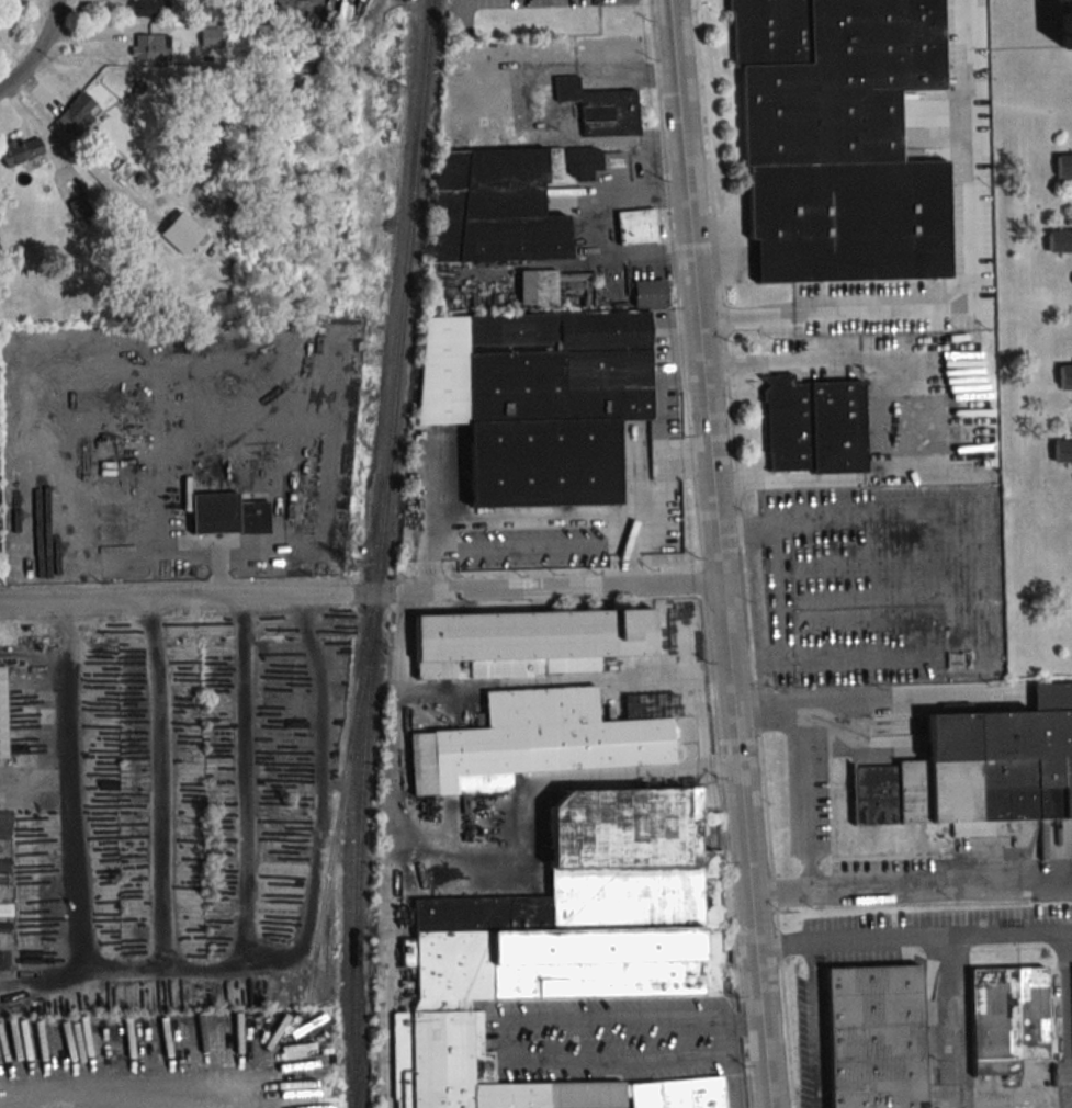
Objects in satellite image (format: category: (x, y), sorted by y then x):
building: (148, 8)
building: (1067, 26)
building: (208, 37)
building: (149, 47)
road: (37, 50)
power tower: (393, 90)
building: (82, 104)
building: (602, 112)
building: (836, 137)
building: (21, 150)
building: (112, 161)
building: (1063, 166)
building: (494, 207)
building: (636, 227)
building: (180, 233)
building: (1060, 240)
building: (538, 289)
road: (972, 289)
building: (650, 294)
building: (1065, 375)
building: (537, 402)
road: (665, 402)
road: (914, 414)
building: (814, 425)
building: (1062, 450)
road: (665, 487)
building: (228, 510)
road: (737, 518)
road: (529, 520)
railway: (381, 553)
road: (719, 553)
power tower: (349, 565)
road: (970, 576)
parking lot: (874, 584)
road: (361, 593)
building: (526, 644)
road: (749, 655)
road: (564, 680)
road: (902, 702)
building: (1, 716)
road: (66, 720)
building: (532, 743)
building: (979, 778)
railway: (337, 823)
road: (476, 862)
road: (911, 886)
road: (913, 940)
building: (569, 953)
road: (279, 958)
road: (1064, 987)
road: (949, 1006)
building: (1006, 1020)
road: (744, 1024)
road: (817, 1026)
building: (873, 1038)
road: (508, 1047)
road: (115, 1088)
railway: (354, 1092)
power tower: (327, 1095)

